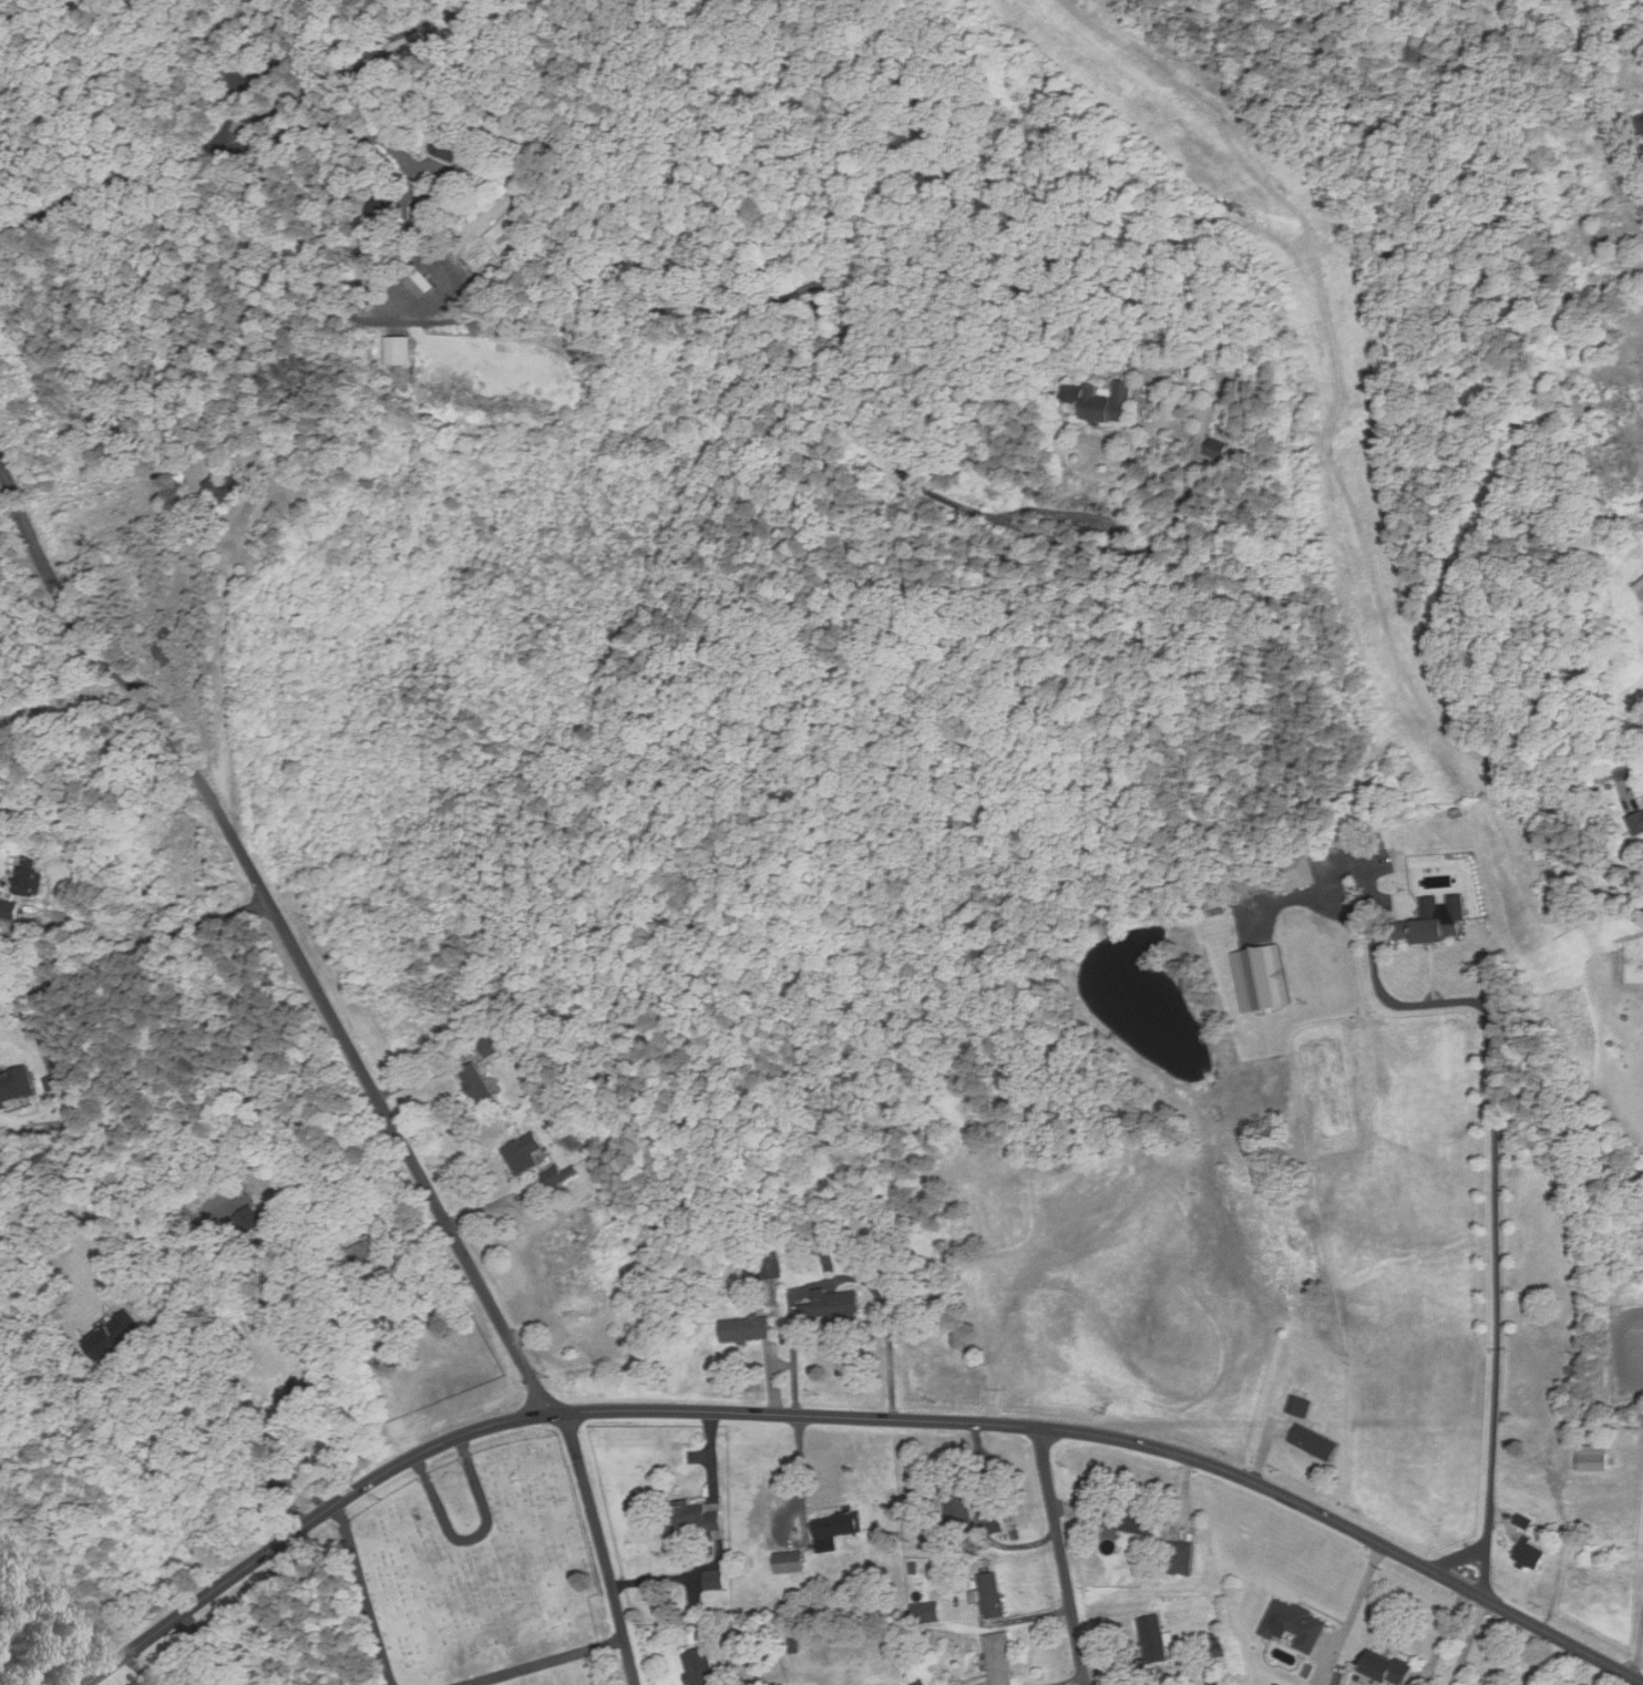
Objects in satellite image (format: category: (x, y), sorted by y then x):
building: (10, 9)
road: (359, 45)
road: (234, 71)
building: (1642, 120)
building: (461, 151)
road: (197, 152)
building: (424, 284)
road: (841, 298)
building: (402, 350)
building: (1108, 400)
building: (1226, 449)
building: (227, 486)
building: (1639, 587)
building: (165, 655)
road: (1631, 769)
building: (1635, 821)
building: (1294, 874)
building: (31, 877)
building: (9, 908)
road: (55, 912)
building: (1429, 926)
road: (283, 931)
road: (133, 952)
building: (1264, 977)
building: (492, 1047)
building: (479, 1085)
building: (18, 1087)
building: (523, 1153)
building: (562, 1174)
road: (1496, 1178)
building: (251, 1220)
building: (370, 1249)
building: (771, 1265)
building: (834, 1306)
building: (749, 1329)
building: (119, 1337)
road: (202, 1381)
building: (291, 1397)
building: (1302, 1401)
road: (853, 1417)
building: (1314, 1441)
building: (1591, 1458)
road: (801, 1469)
building: (958, 1509)
building: (692, 1517)
building: (1129, 1519)
building: (1523, 1520)
building: (836, 1528)
road: (473, 1532)
road: (602, 1548)
building: (1529, 1554)
road: (1061, 1556)
building: (1185, 1558)
building: (789, 1561)
park: (480, 1574)
building: (715, 1579)
road: (363, 1594)
building: (994, 1594)
road: (1359, 1595)
building: (926, 1611)
building: (1292, 1624)
building: (1151, 1637)
building: (997, 1658)
road: (534, 1660)
building: (699, 1666)
building: (1383, 1666)
building: (917, 1682)

